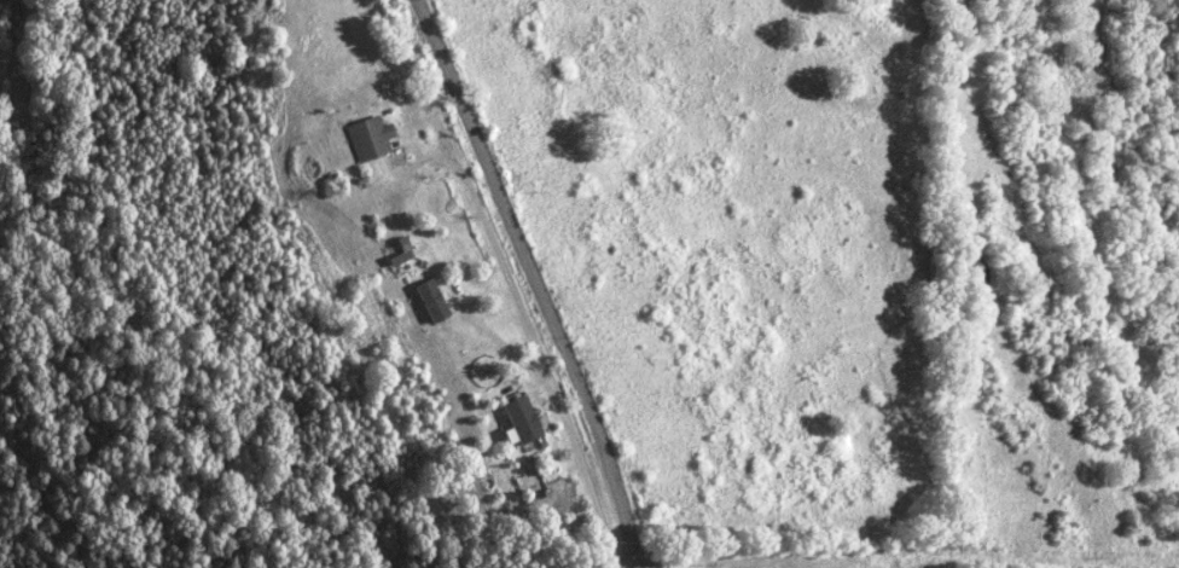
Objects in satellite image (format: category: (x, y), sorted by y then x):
building: (367, 137)
building: (399, 253)
road: (542, 280)
building: (429, 299)
building: (519, 418)

